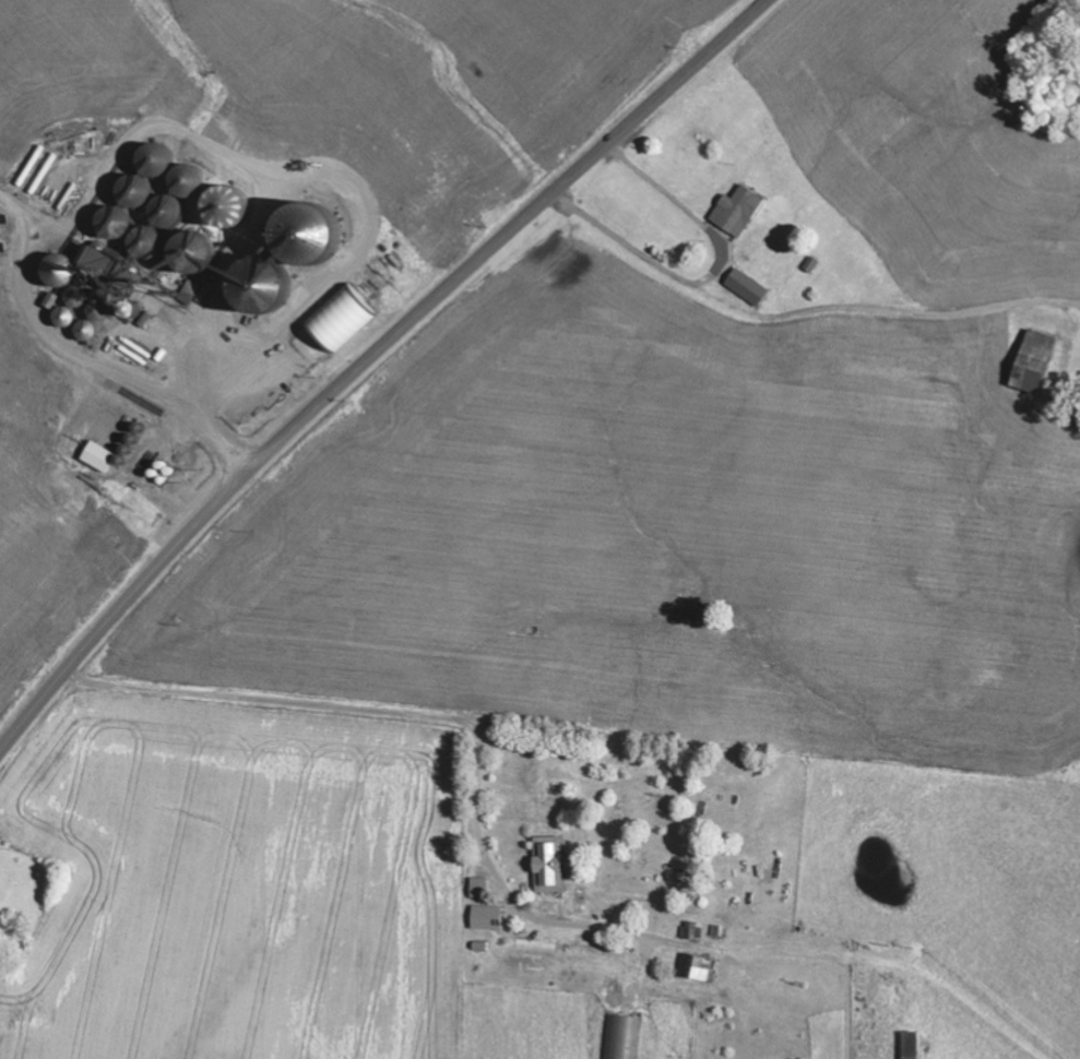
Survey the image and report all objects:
building: (738, 211)
building: (748, 287)
building: (342, 320)
road: (368, 359)
building: (1034, 362)
building: (99, 457)
building: (549, 869)
building: (479, 889)
building: (487, 918)
building: (701, 969)

